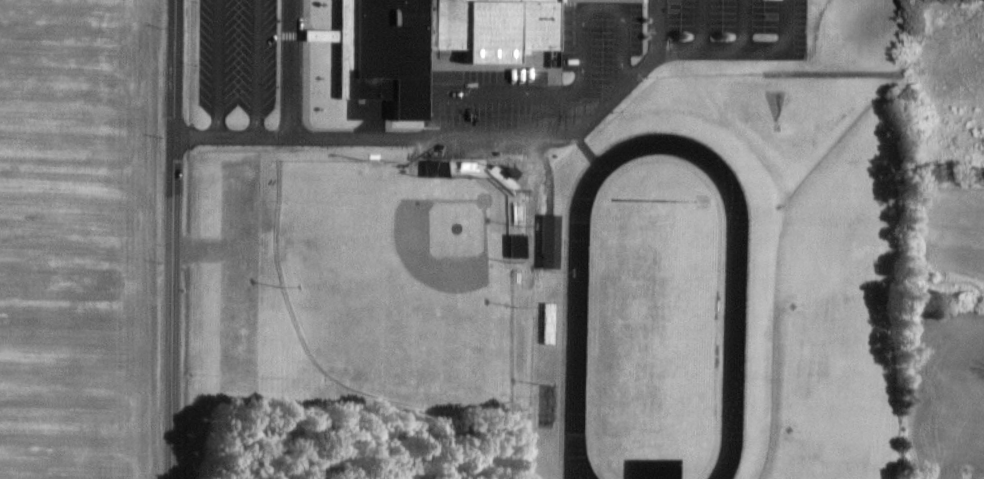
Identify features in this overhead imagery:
road: (659, 24)
road: (701, 24)
road: (744, 24)
building: (428, 42)
road: (220, 68)
road: (257, 68)
road: (291, 69)
road: (583, 92)
road: (545, 117)
road: (524, 139)
track: (659, 201)
road: (173, 239)
building: (550, 241)
stadium: (405, 279)
park: (849, 292)
park: (392, 297)
park: (656, 323)
building: (550, 325)
track: (577, 329)
building: (545, 405)

